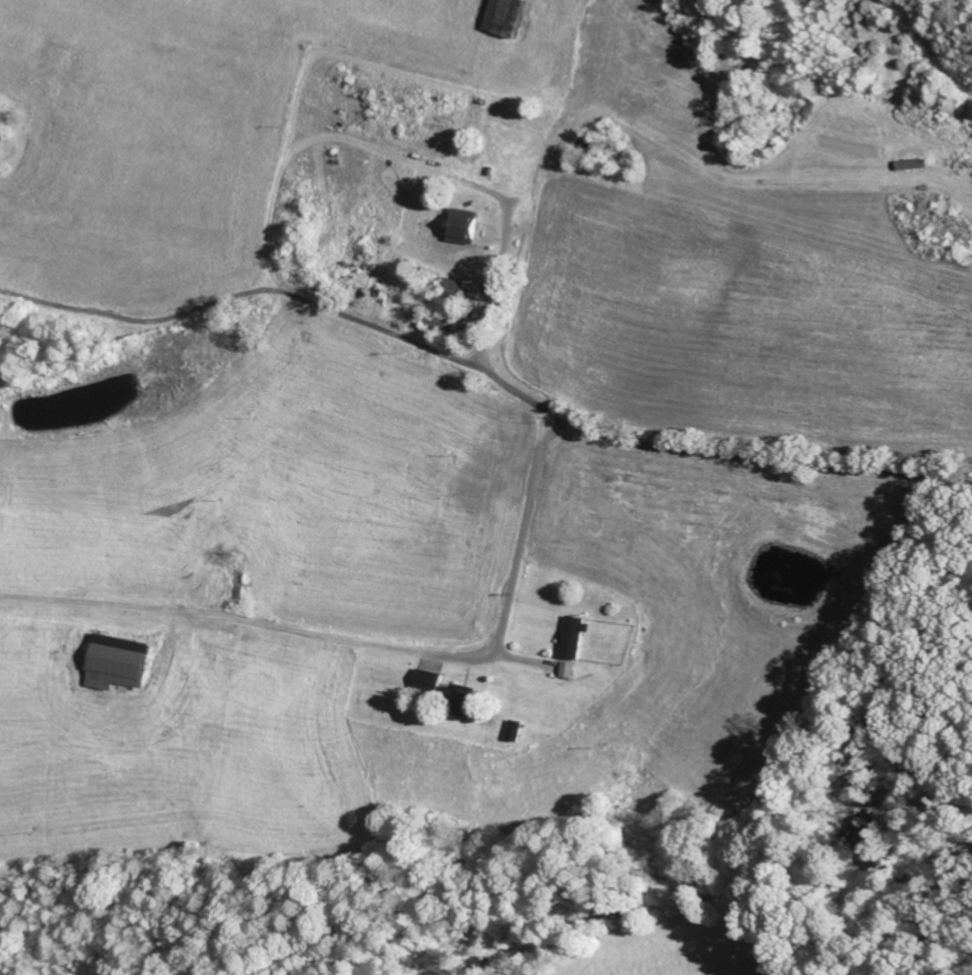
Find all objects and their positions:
building: (501, 17)
road: (443, 157)
building: (460, 226)
road: (756, 458)
building: (577, 637)
road: (367, 641)
building: (123, 662)
building: (572, 669)
building: (431, 679)
building: (470, 702)
building: (520, 730)

